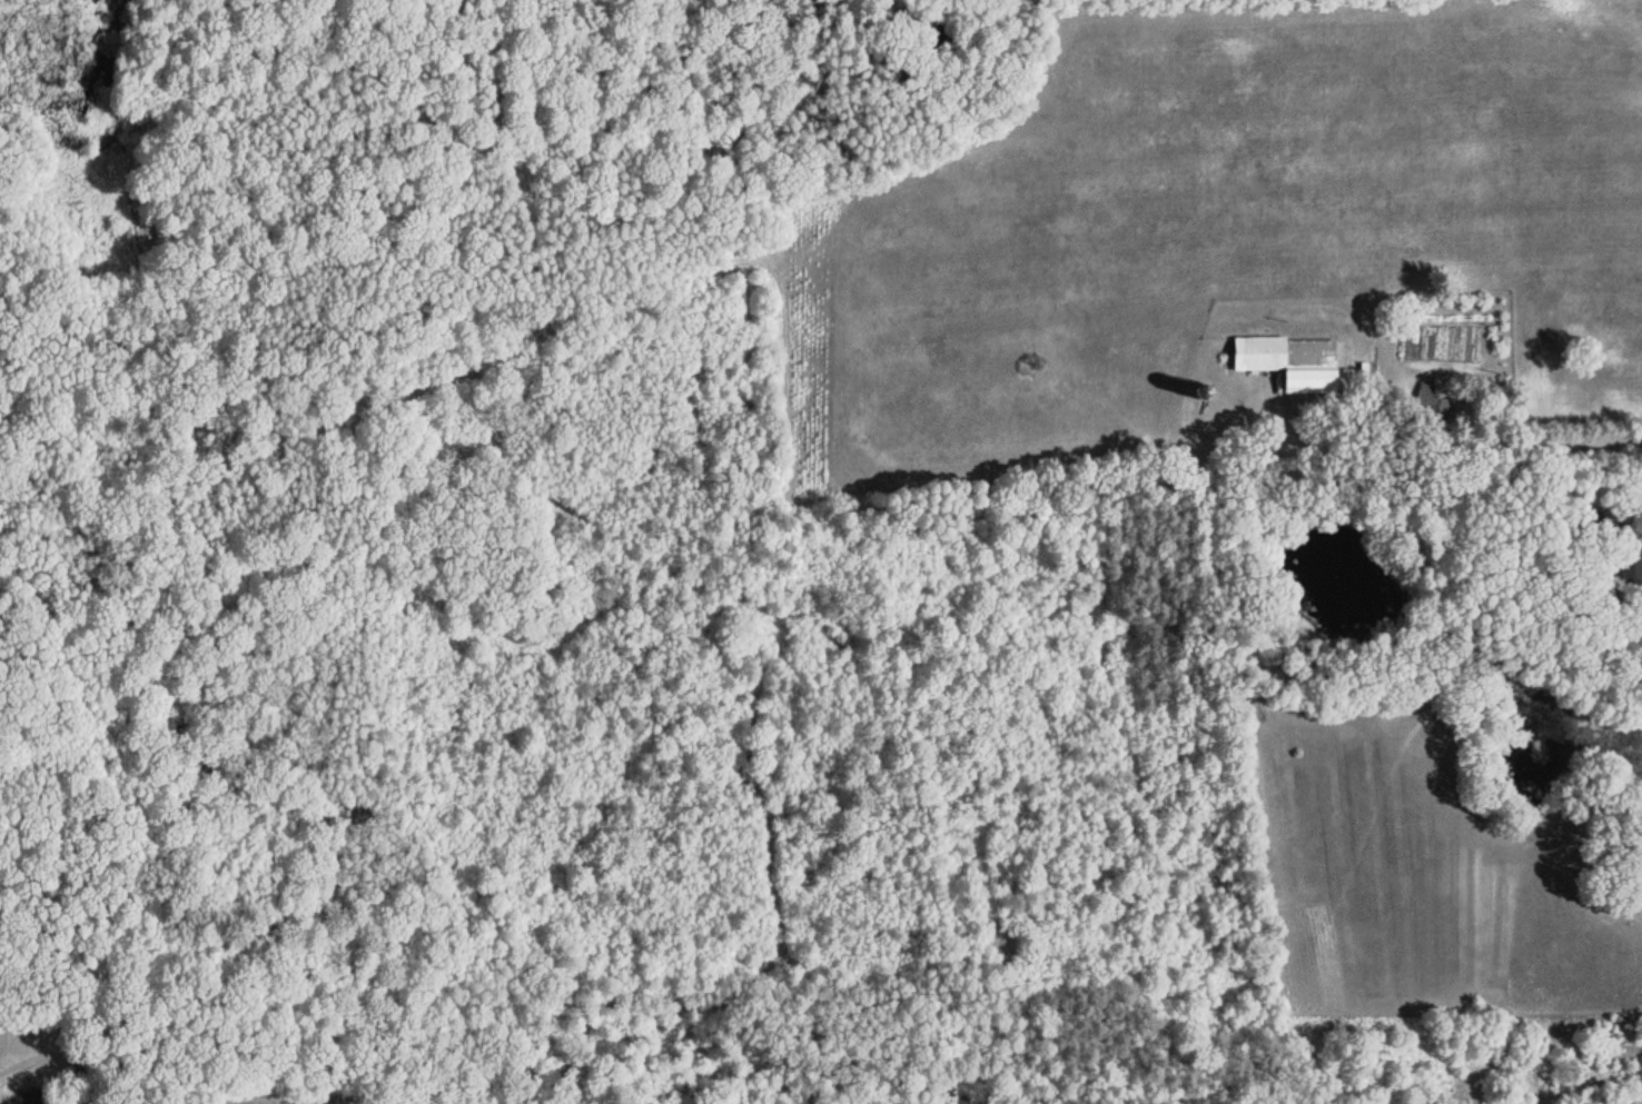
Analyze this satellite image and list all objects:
building: (1305, 365)
building: (1437, 391)
road: (1454, 434)
crop: (286, 1100)

